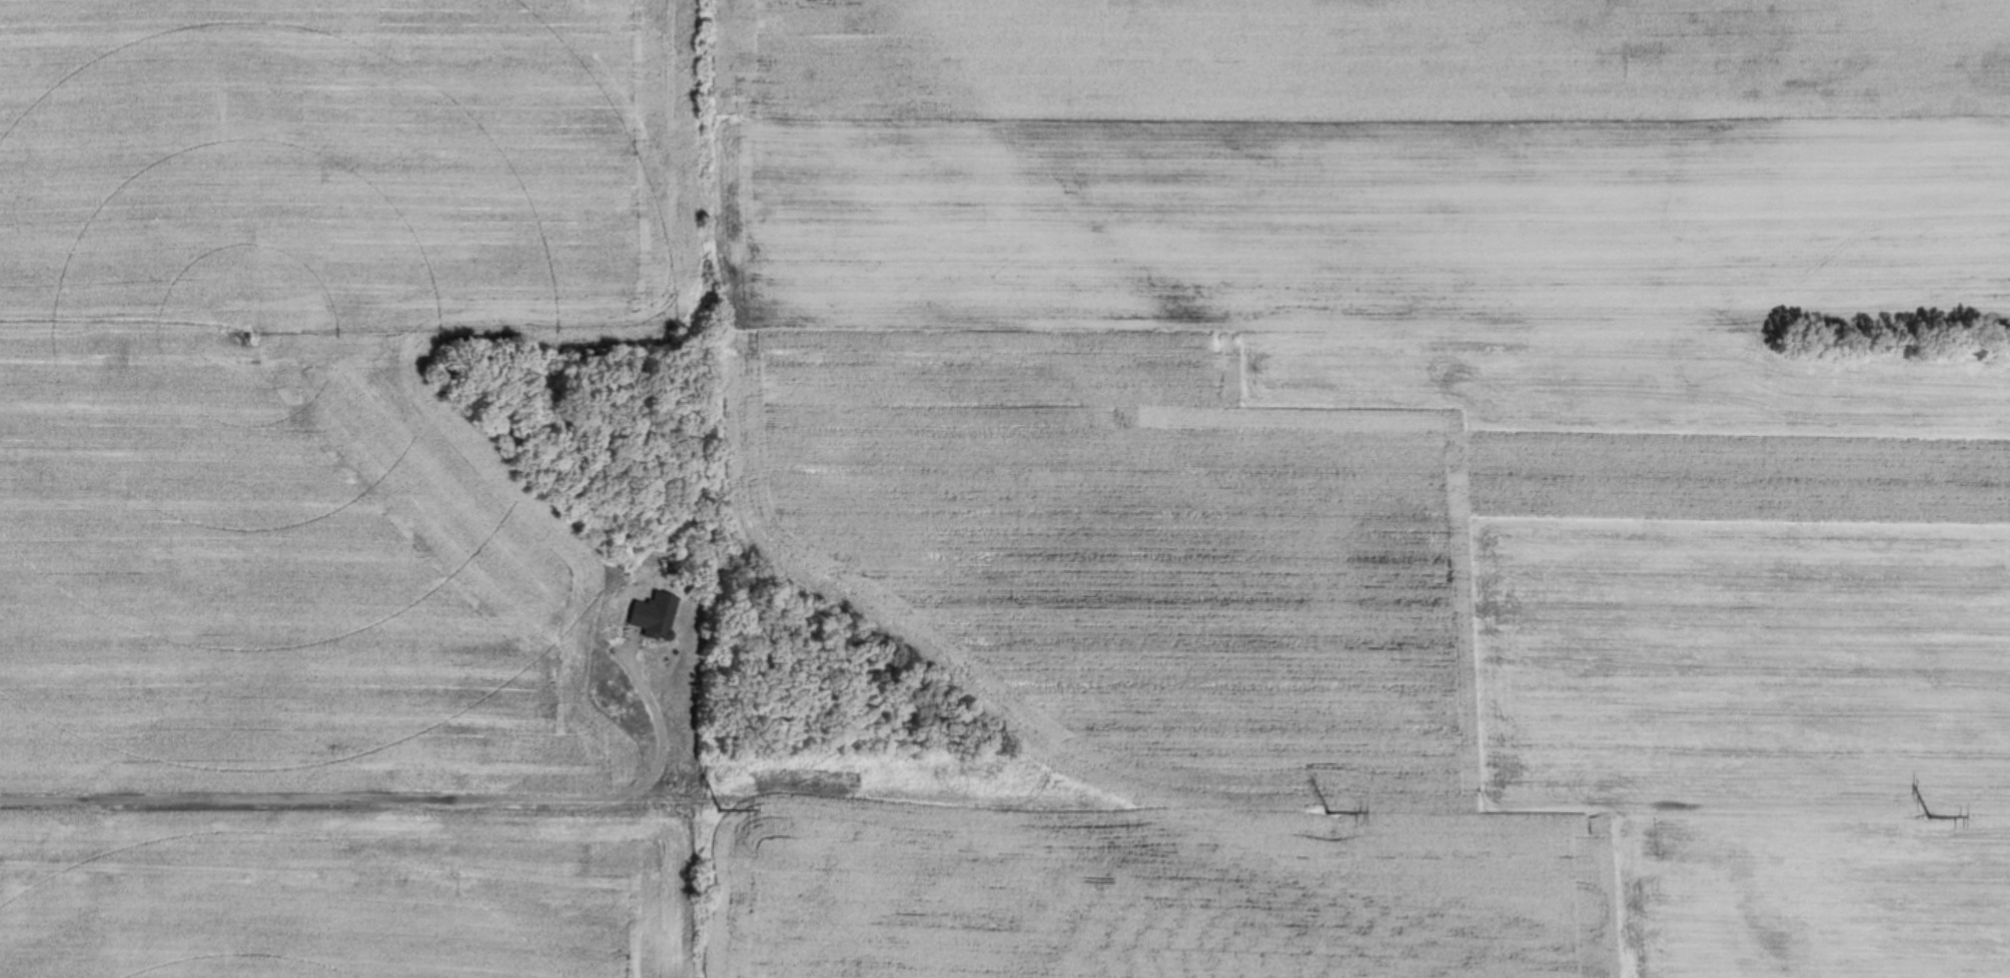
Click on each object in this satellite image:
road: (401, 789)
power tower: (721, 803)
power tower: (1332, 805)
power tower: (1935, 809)

